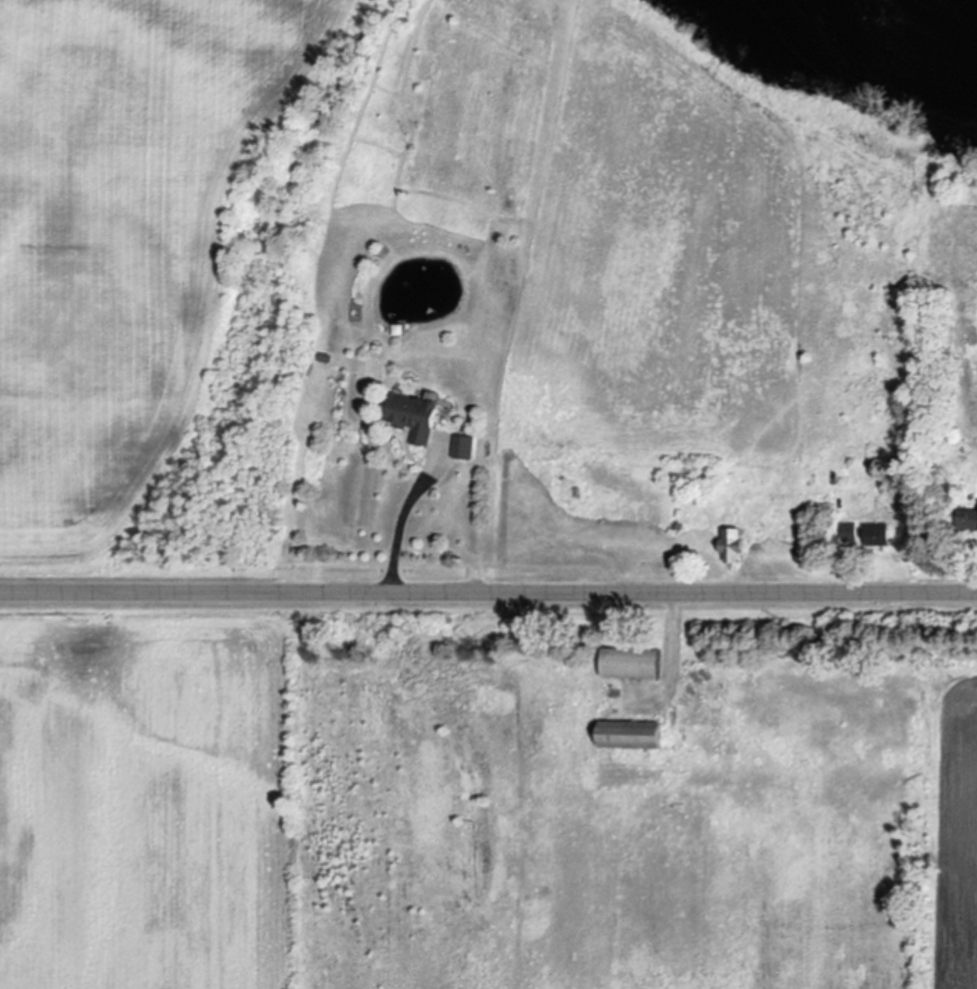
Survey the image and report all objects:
river: (917, 33)
building: (419, 419)
building: (465, 449)
building: (968, 521)
road: (399, 530)
building: (852, 534)
building: (881, 536)
building: (738, 547)
road: (852, 578)
road: (488, 593)
building: (637, 665)
building: (637, 737)

